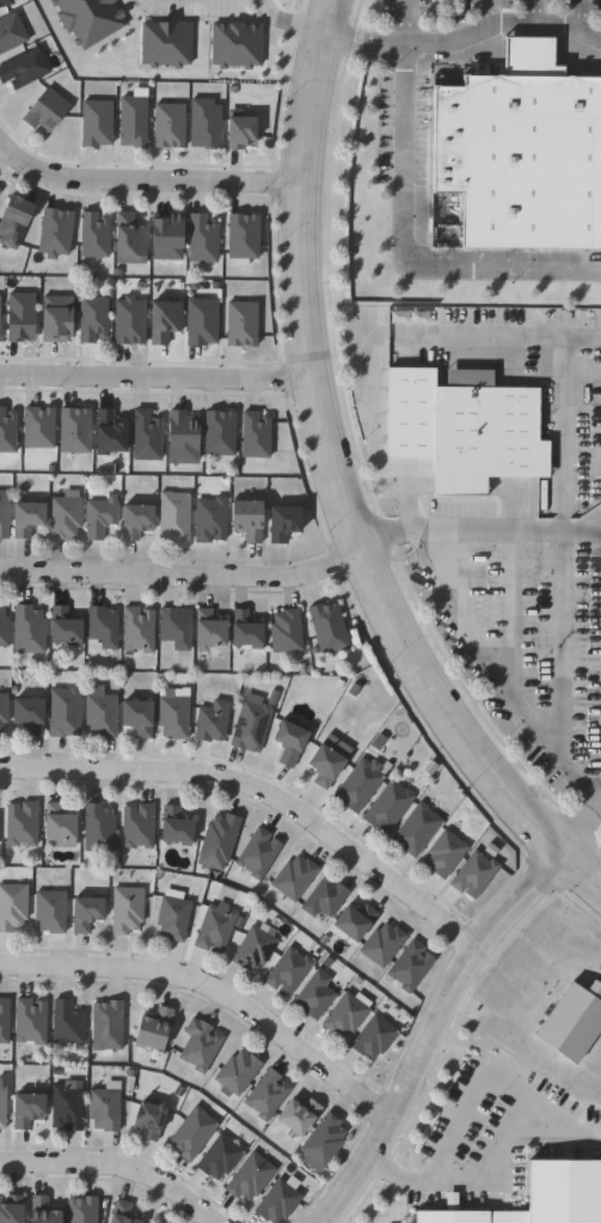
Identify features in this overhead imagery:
building: (5, 2)
road: (532, 12)
road: (486, 14)
road: (576, 16)
road: (287, 23)
building: (11, 34)
road: (462, 37)
building: (24, 69)
building: (45, 111)
building: (133, 122)
building: (97, 124)
building: (206, 124)
building: (168, 127)
building: (241, 133)
building: (523, 154)
road: (143, 181)
building: (14, 223)
road: (400, 231)
building: (55, 233)
building: (93, 236)
building: (129, 237)
building: (167, 238)
building: (243, 238)
building: (203, 241)
building: (20, 318)
building: (56, 320)
building: (92, 321)
building: (129, 322)
building: (164, 323)
building: (201, 323)
building: (241, 325)
road: (369, 346)
road: (152, 378)
building: (37, 426)
building: (462, 426)
building: (7, 430)
building: (74, 430)
building: (109, 432)
building: (182, 432)
building: (220, 432)
building: (254, 434)
building: (146, 436)
road: (333, 482)
building: (4, 513)
building: (99, 516)
building: (173, 516)
building: (26, 517)
building: (63, 517)
building: (247, 518)
building: (136, 519)
building: (209, 519)
building: (283, 522)
road: (557, 525)
road: (499, 529)
road: (379, 544)
road: (180, 574)
road: (508, 611)
building: (63, 626)
building: (103, 626)
building: (174, 627)
building: (327, 627)
building: (4, 628)
building: (137, 629)
building: (209, 629)
building: (245, 629)
building: (29, 631)
building: (286, 631)
road: (491, 669)
building: (2, 711)
building: (63, 712)
building: (29, 714)
building: (100, 714)
building: (173, 714)
building: (137, 717)
building: (211, 722)
building: (251, 726)
building: (290, 742)
building: (326, 766)
building: (360, 785)
road: (594, 787)
road: (259, 792)
road: (595, 803)
building: (388, 807)
building: (59, 823)
building: (22, 826)
building: (136, 827)
building: (176, 827)
building: (99, 828)
building: (416, 829)
road: (575, 830)
building: (219, 839)
building: (258, 853)
building: (446, 854)
building: (474, 875)
building: (294, 877)
building: (324, 898)
building: (12, 907)
building: (127, 909)
building: (50, 911)
building: (86, 913)
building: (173, 915)
building: (355, 921)
building: (214, 929)
building: (382, 944)
building: (254, 947)
building: (410, 967)
building: (288, 972)
road: (209, 992)
building: (314, 996)
building: (347, 1015)
building: (4, 1021)
building: (30, 1022)
building: (67, 1023)
building: (576, 1024)
building: (106, 1027)
road: (423, 1027)
building: (154, 1029)
building: (374, 1038)
building: (201, 1046)
building: (237, 1072)
building: (266, 1095)
building: (2, 1107)
building: (66, 1108)
building: (104, 1109)
building: (27, 1111)
building: (299, 1116)
building: (148, 1121)
building: (192, 1134)
building: (323, 1143)
building: (219, 1158)
road: (112, 1166)
road: (484, 1169)
building: (250, 1178)
building: (545, 1198)
building: (277, 1203)
building: (12, 1210)
building: (81, 1210)
building: (43, 1211)
building: (122, 1213)

